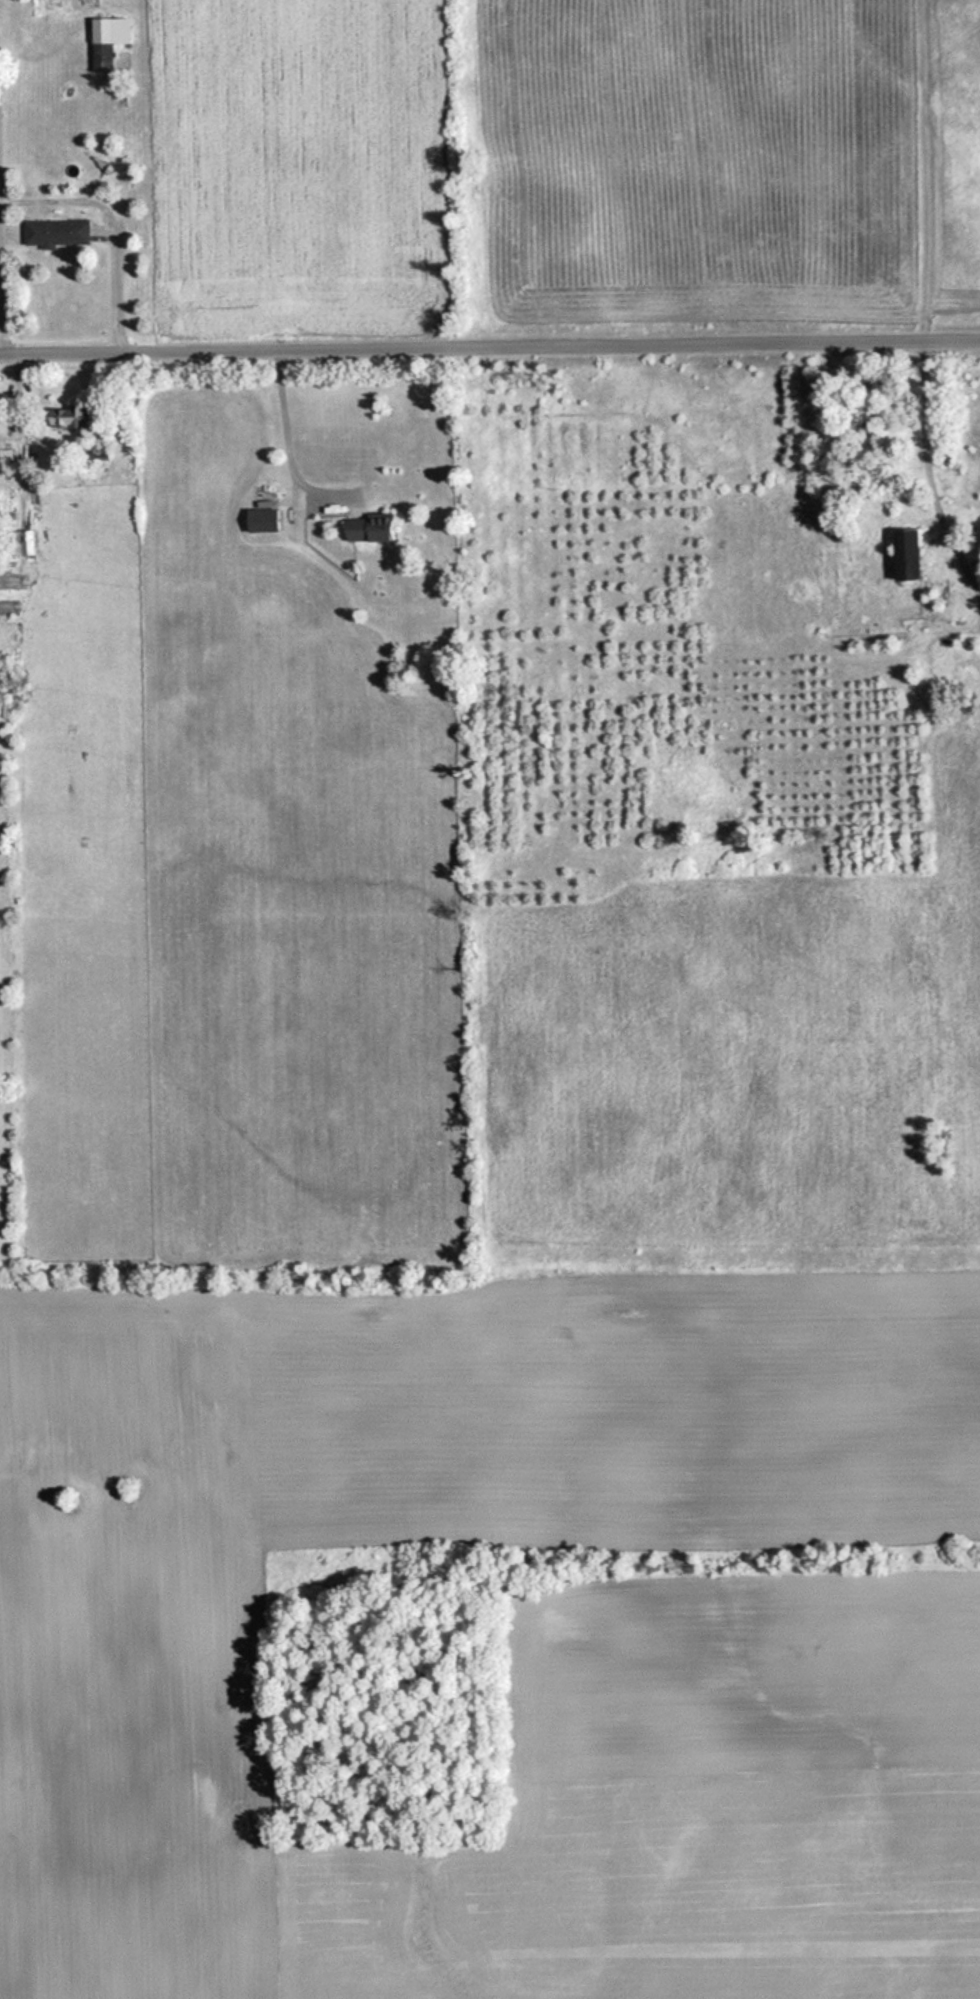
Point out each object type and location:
building: (112, 40)
building: (60, 231)
road: (489, 353)
building: (74, 416)
building: (270, 519)
building: (377, 527)
building: (900, 554)

